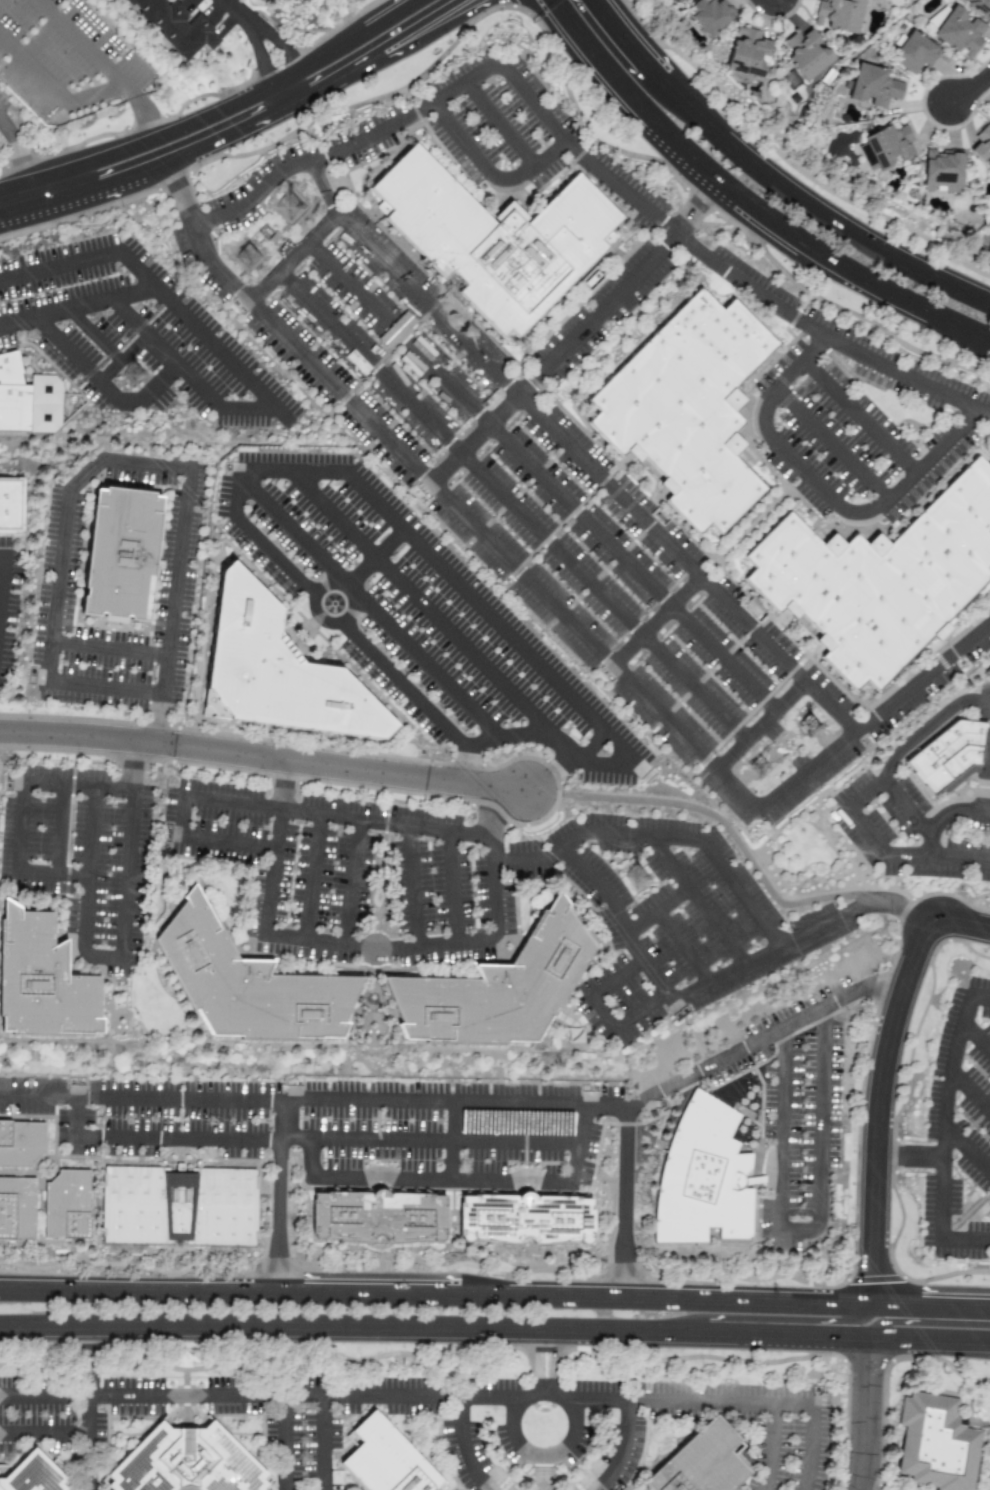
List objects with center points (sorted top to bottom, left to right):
building: (979, 7)
building: (710, 15)
building: (838, 15)
building: (176, 28)
road: (258, 32)
building: (958, 33)
road: (621, 38)
road: (81, 41)
road: (391, 48)
building: (747, 53)
building: (806, 54)
building: (914, 54)
road: (312, 85)
road: (55, 86)
building: (873, 86)
road: (971, 90)
road: (239, 96)
road: (280, 103)
road: (143, 105)
road: (288, 116)
road: (0, 120)
road: (500, 125)
building: (888, 146)
building: (982, 146)
road: (346, 148)
road: (215, 150)
road: (21, 155)
building: (942, 171)
road: (489, 173)
road: (121, 188)
road: (35, 193)
road: (183, 196)
road: (742, 203)
road: (810, 205)
power tower: (294, 208)
building: (499, 239)
road: (293, 258)
power tower: (251, 259)
road: (57, 265)
road: (722, 270)
road: (75, 307)
road: (195, 328)
road: (576, 333)
road: (989, 341)
road: (164, 353)
road: (84, 367)
power tower: (136, 376)
road: (159, 385)
building: (29, 398)
road: (247, 407)
building: (692, 407)
road: (858, 416)
road: (830, 443)
road: (573, 453)
road: (144, 465)
road: (291, 472)
road: (541, 476)
road: (237, 492)
road: (823, 492)
building: (12, 506)
road: (511, 506)
road: (470, 521)
road: (2, 556)
road: (274, 557)
road: (60, 563)
road: (369, 563)
building: (122, 569)
road: (2, 576)
building: (884, 581)
road: (173, 583)
road: (342, 595)
road: (368, 607)
road: (483, 615)
road: (654, 621)
road: (447, 629)
road: (108, 649)
building: (280, 684)
road: (400, 684)
road: (103, 689)
road: (874, 716)
road: (155, 721)
road: (757, 726)
power tower: (813, 727)
road: (927, 727)
road: (506, 735)
building: (950, 757)
road: (264, 758)
road: (623, 760)
road: (565, 762)
road: (466, 765)
road: (134, 767)
power tower: (761, 771)
road: (282, 784)
road: (78, 786)
road: (865, 795)
road: (953, 811)
road: (327, 814)
road: (178, 815)
road: (911, 816)
road: (720, 820)
road: (20, 825)
road: (59, 828)
road: (864, 830)
road: (640, 837)
road: (225, 841)
road: (934, 857)
road: (526, 860)
road: (86, 867)
road: (51, 871)
road: (271, 871)
road: (128, 873)
road: (311, 877)
power tower: (640, 880)
road: (352, 883)
road: (412, 886)
road: (452, 886)
road: (493, 893)
road: (741, 895)
road: (697, 901)
road: (903, 907)
road: (657, 909)
road: (621, 919)
road: (962, 925)
road: (682, 947)
road: (374, 951)
road: (772, 952)
road: (101, 958)
road: (619, 978)
building: (46, 980)
building: (253, 985)
building: (504, 989)
road: (886, 992)
road: (980, 996)
road: (641, 1010)
road: (603, 1014)
road: (976, 1038)
road: (970, 1091)
road: (878, 1102)
road: (450, 1103)
road: (943, 1115)
road: (75, 1119)
road: (820, 1119)
road: (781, 1129)
road: (325, 1141)
building: (21, 1142)
road: (450, 1142)
road: (576, 1145)
road: (966, 1151)
road: (908, 1157)
road: (309, 1160)
building: (709, 1176)
road: (440, 1181)
road: (279, 1196)
building: (180, 1202)
road: (625, 1203)
building: (71, 1205)
building: (18, 1208)
building: (384, 1213)
building: (523, 1214)
road: (796, 1228)
road: (965, 1239)
road: (495, 1296)
road: (910, 1317)
road: (495, 1328)
road: (830, 1328)
road: (541, 1361)
road: (474, 1395)
road: (43, 1396)
road: (232, 1396)
road: (762, 1397)
road: (87, 1408)
road: (867, 1420)
road: (323, 1421)
road: (43, 1435)
road: (768, 1444)
building: (935, 1445)
road: (460, 1446)
road: (620, 1447)
building: (394, 1460)
building: (708, 1461)
building: (189, 1462)
road: (544, 1464)
building: (34, 1474)

